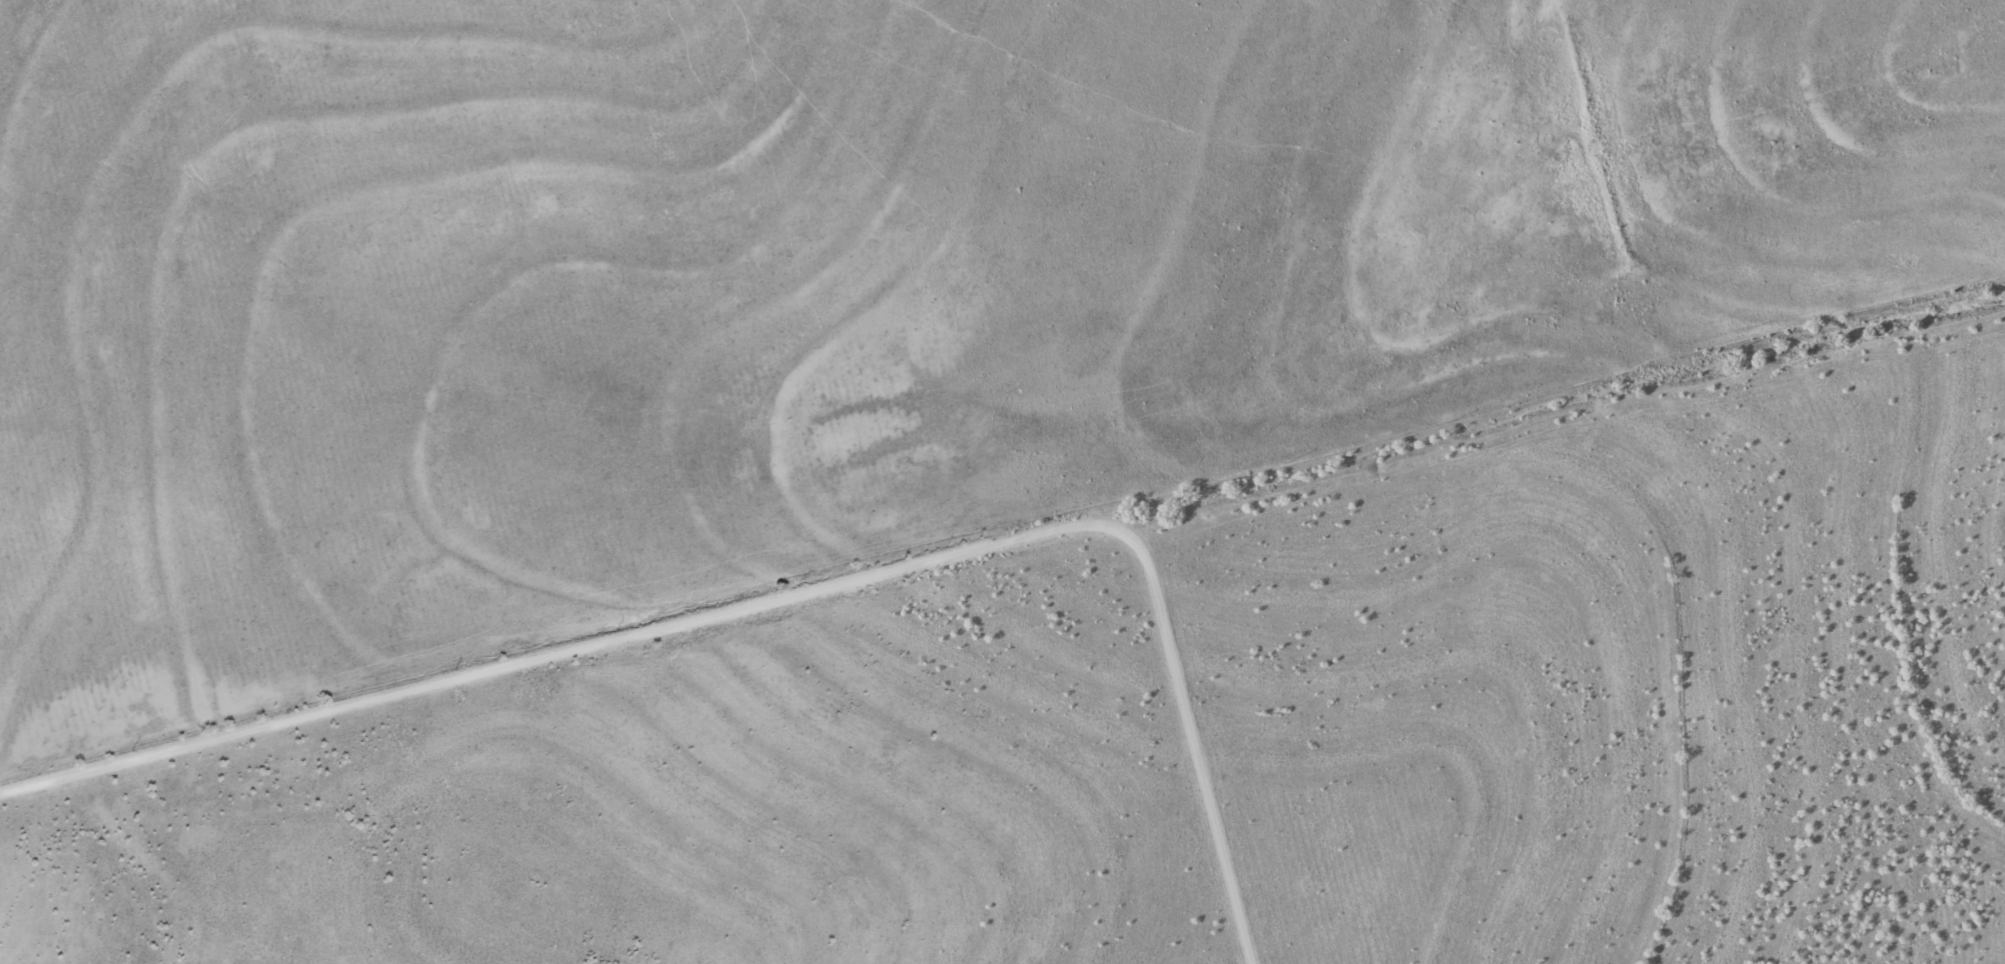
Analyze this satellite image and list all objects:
road: (784, 596)

